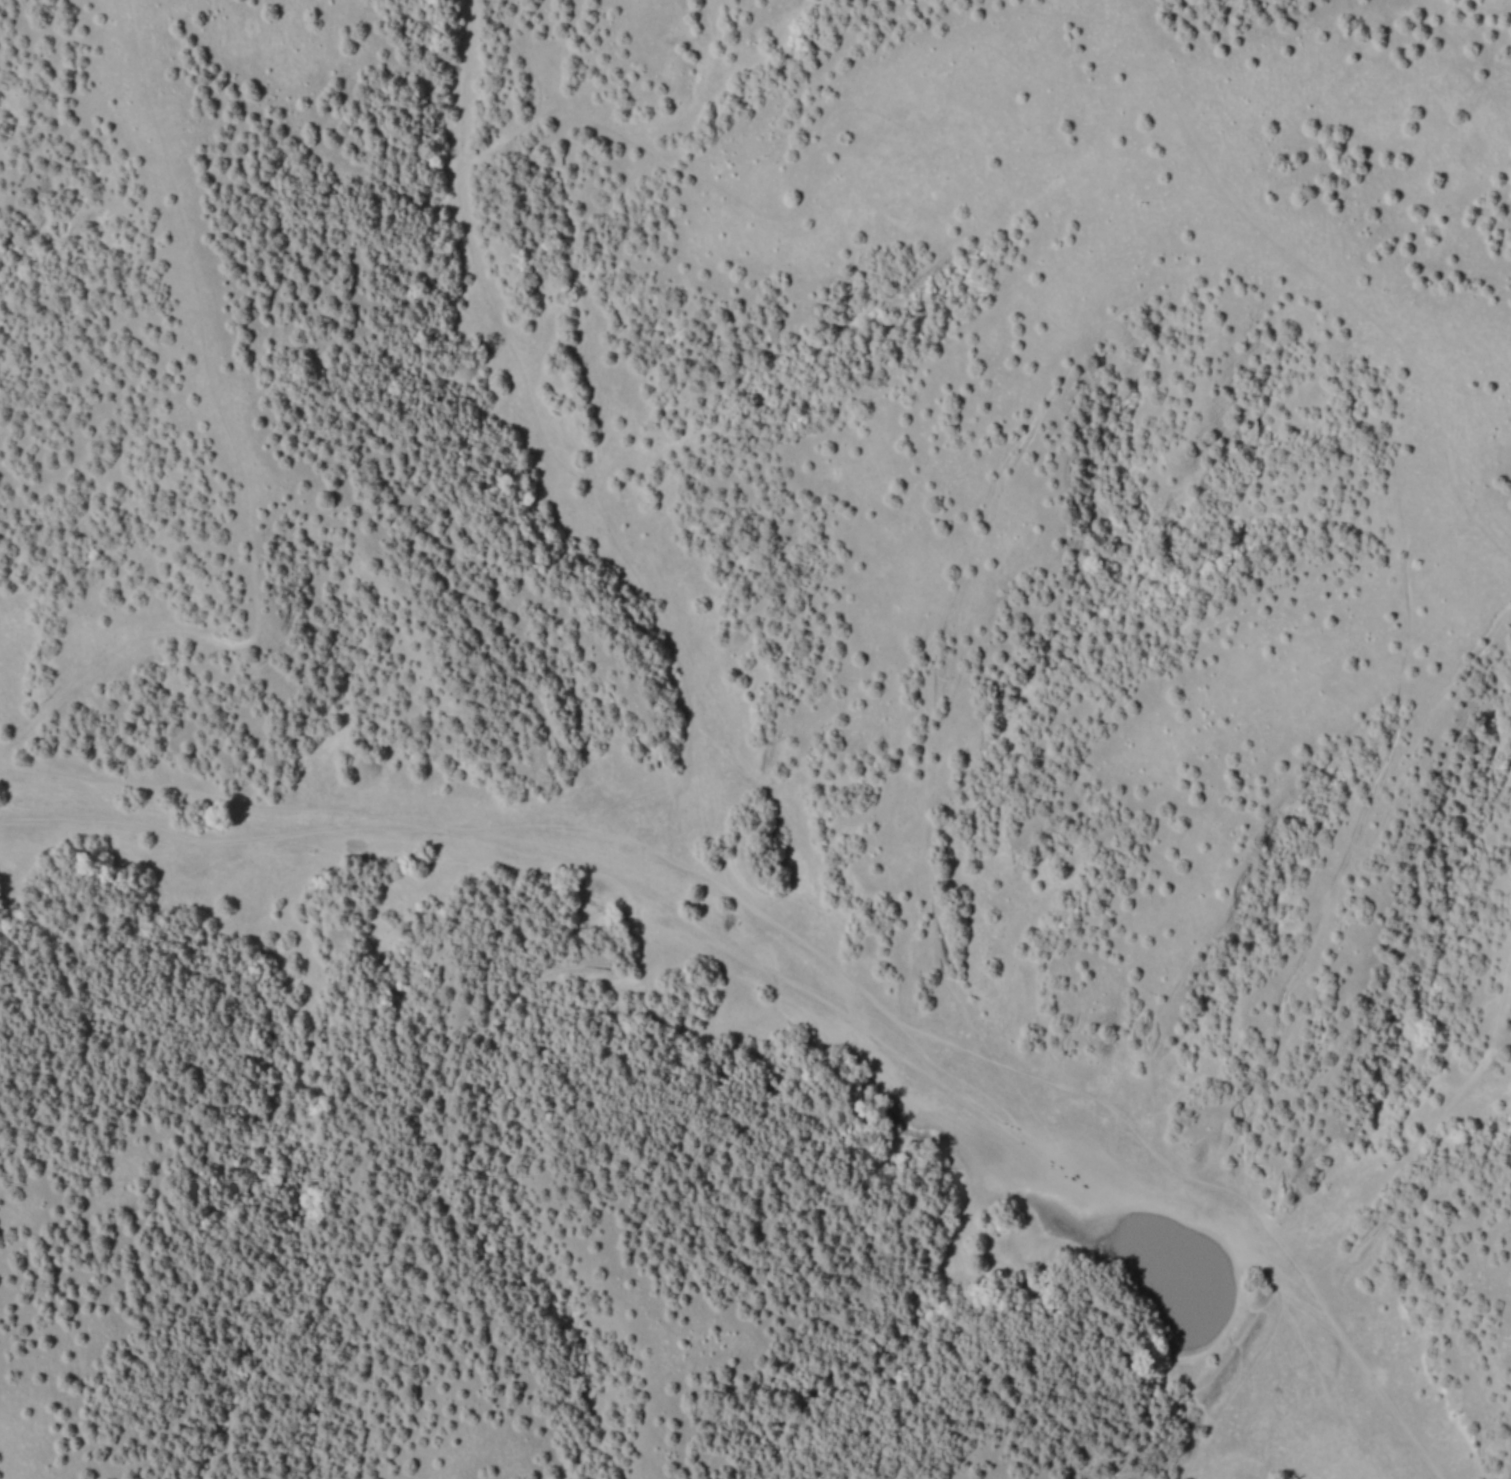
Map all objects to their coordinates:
road: (779, 214)
road: (253, 428)
road: (936, 545)
crop: (755, 739)
road: (465, 845)
road: (1320, 907)
road: (813, 947)
road: (444, 1123)
road: (1418, 1252)
road: (1270, 1363)
road: (1205, 1378)
road: (1202, 1435)

